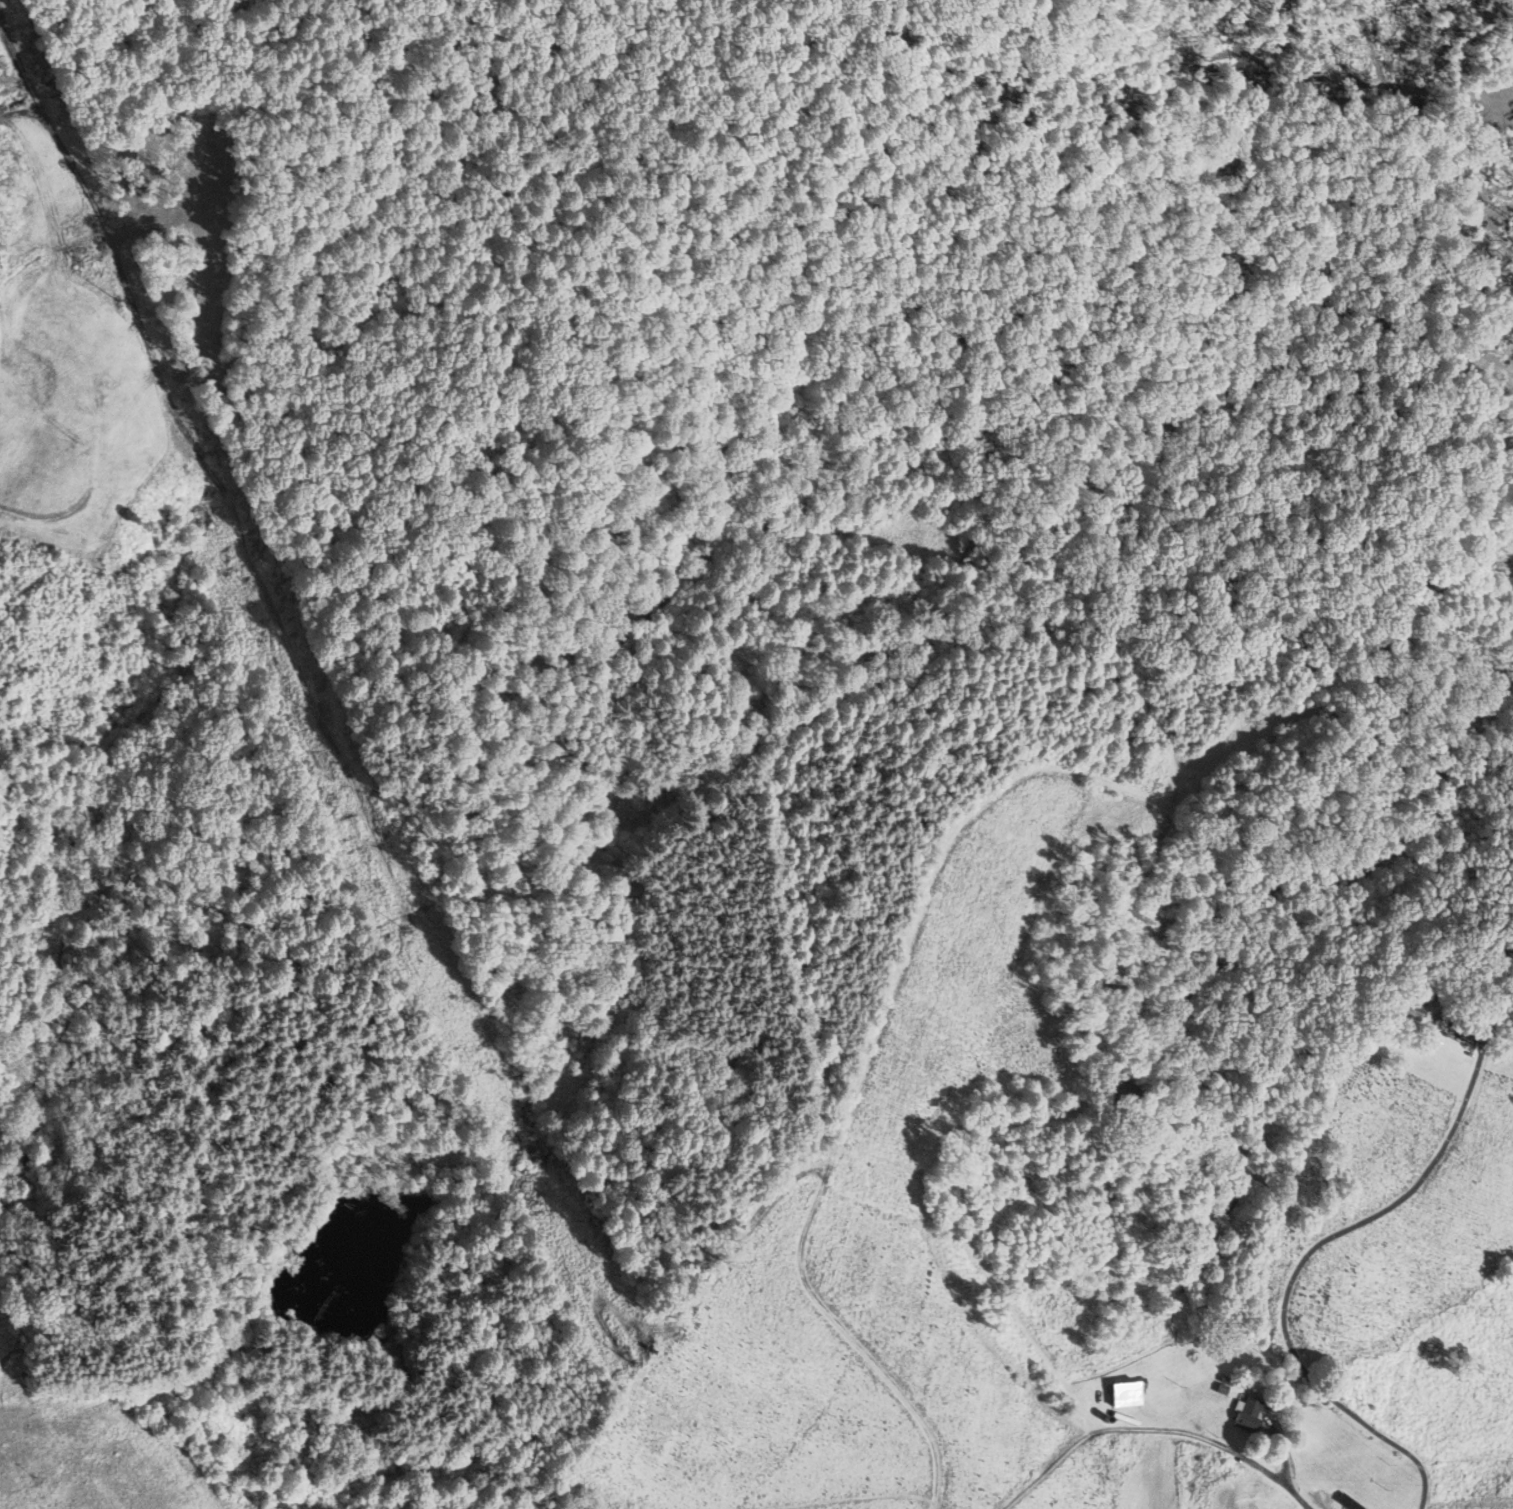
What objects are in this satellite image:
building: (1397, 1012)
road: (1299, 1269)
building: (1115, 1393)
building: (1245, 1407)
road: (1233, 1450)
building: (1342, 1502)

